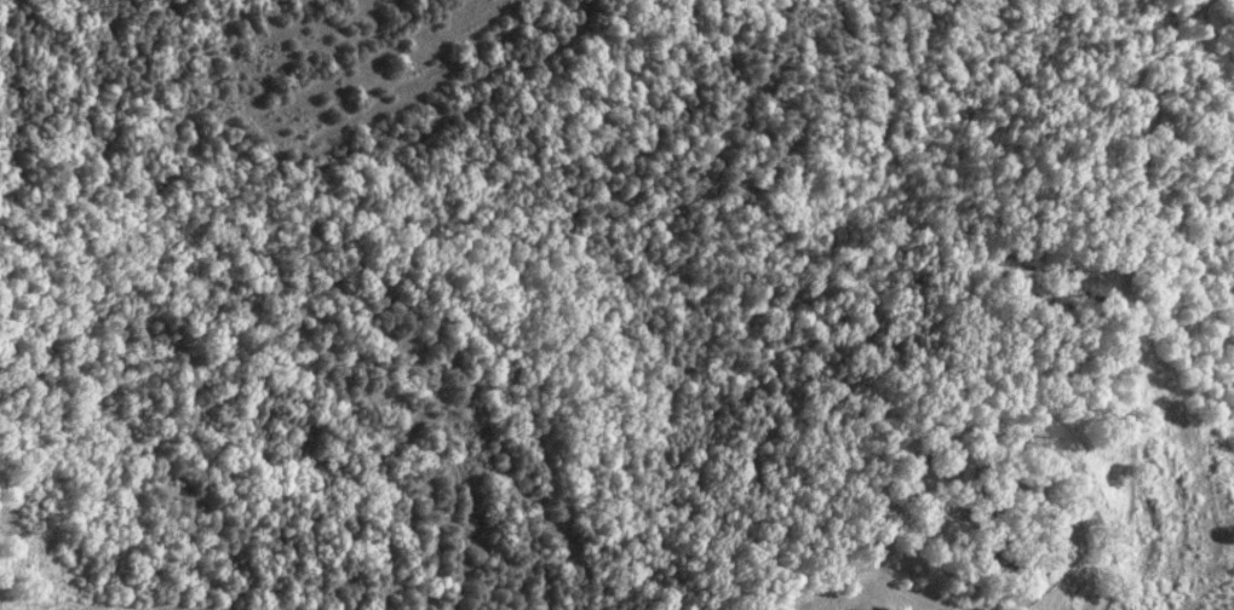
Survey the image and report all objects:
road: (1091, 534)

